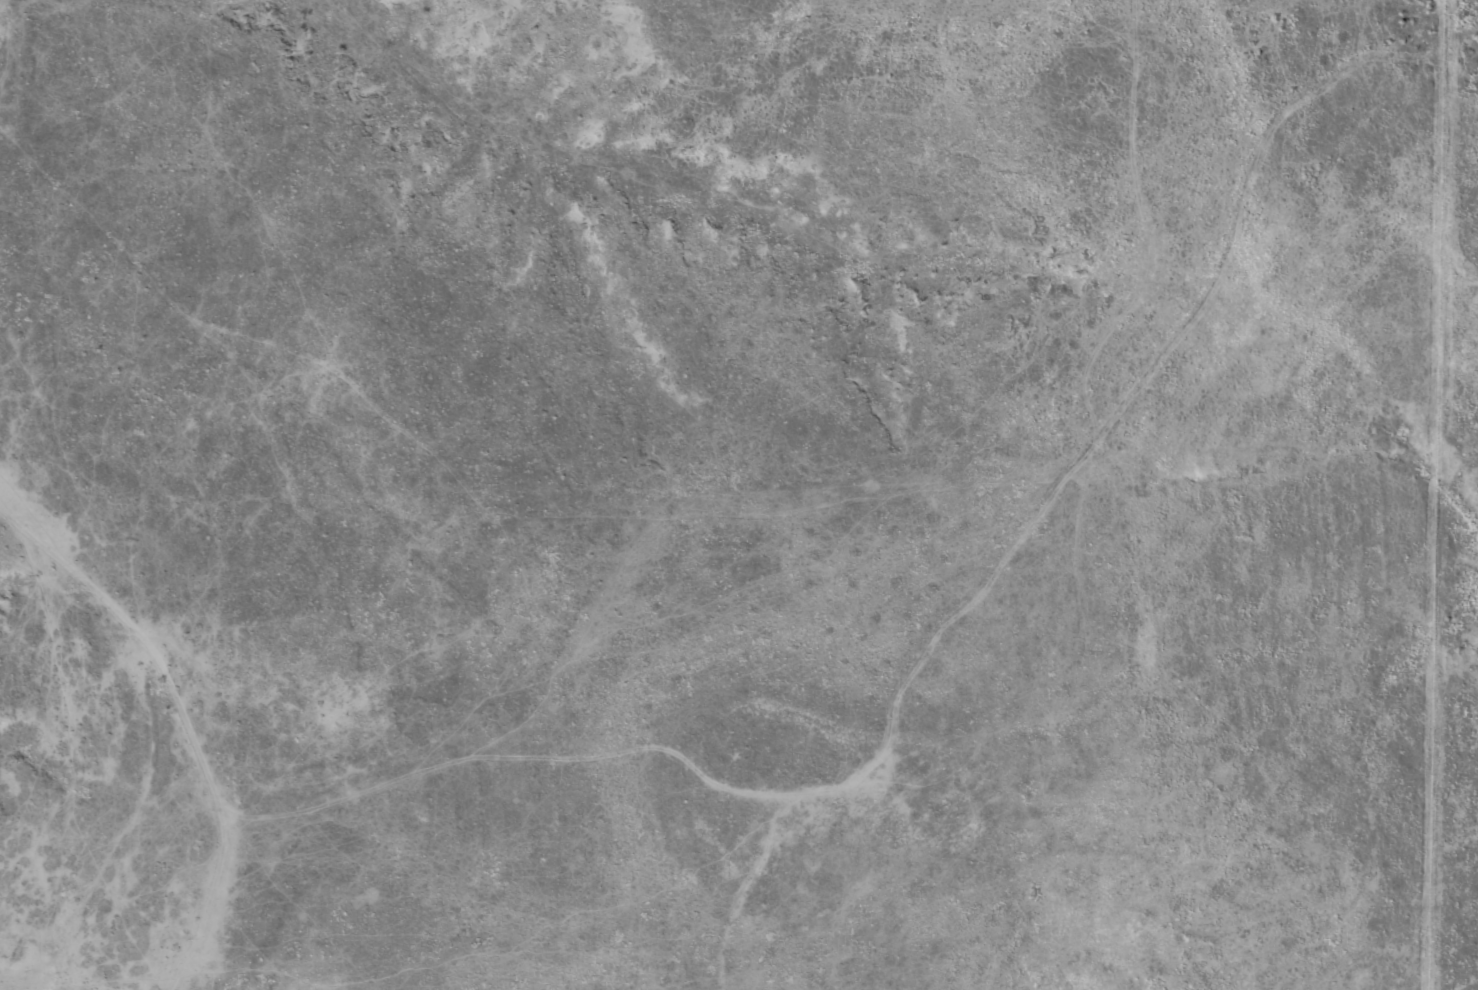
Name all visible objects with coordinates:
road: (1090, 498)

